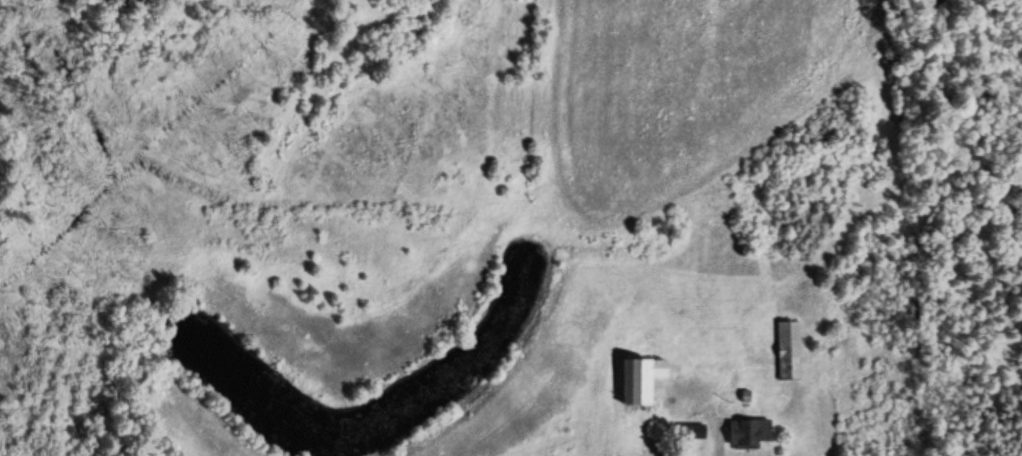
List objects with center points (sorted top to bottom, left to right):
building: (788, 351)
building: (639, 381)
building: (689, 431)
building: (746, 433)

